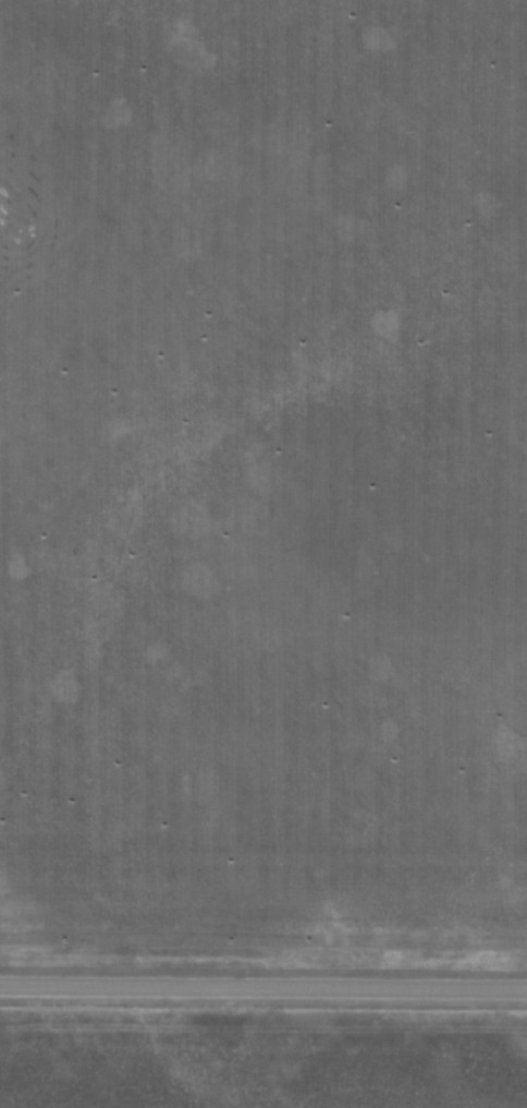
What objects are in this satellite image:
road: (263, 985)

